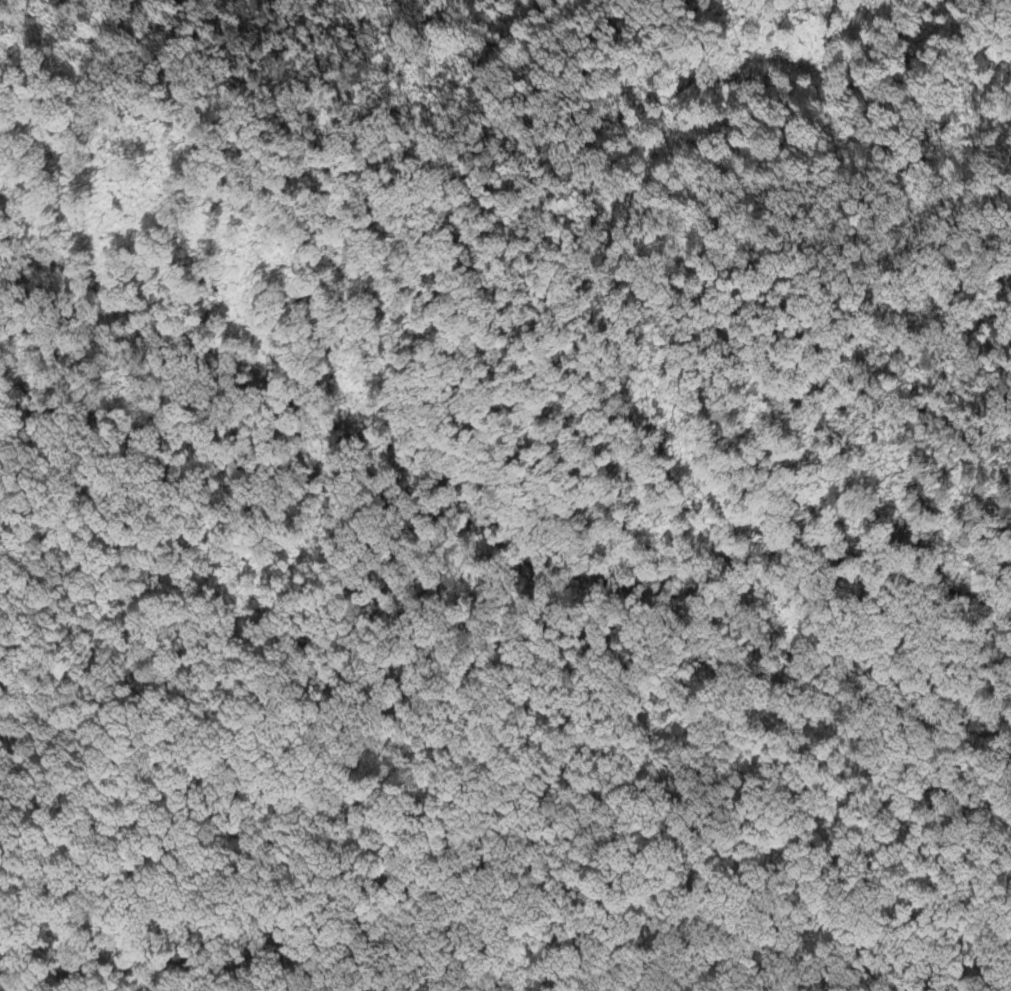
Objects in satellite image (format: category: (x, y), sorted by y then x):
road: (557, 188)
park: (505, 495)
road: (451, 622)

